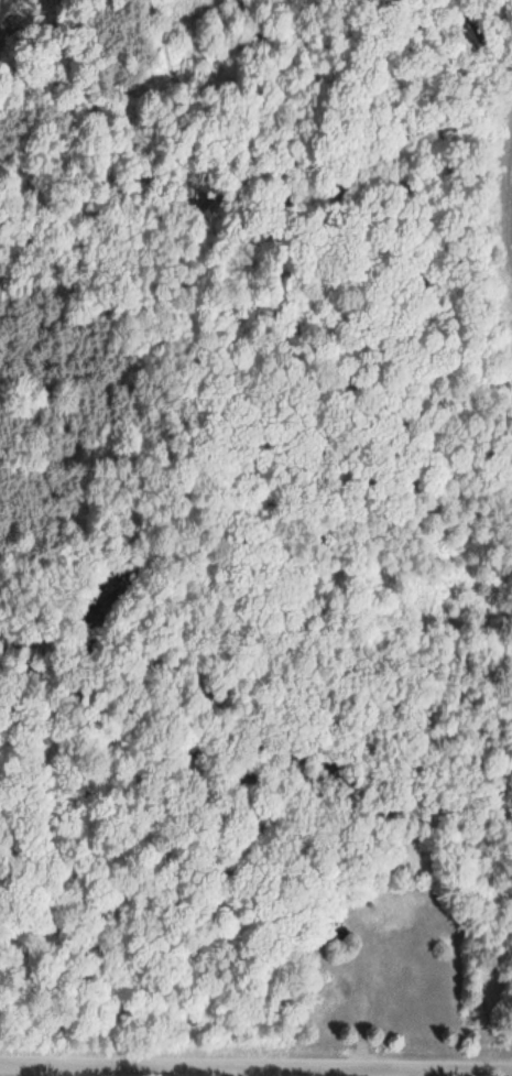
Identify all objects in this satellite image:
building: (335, 933)
road: (255, 1066)

